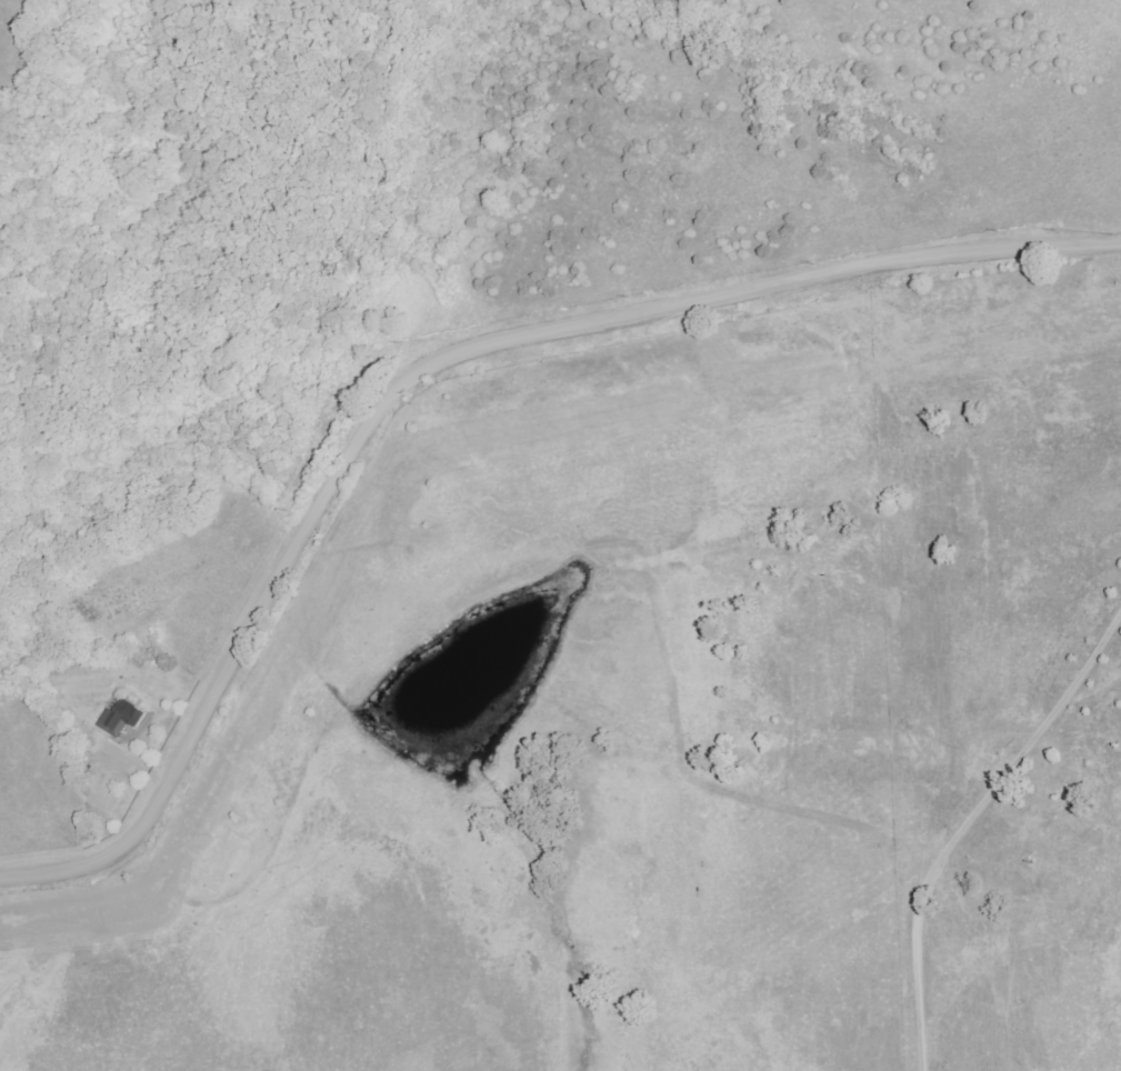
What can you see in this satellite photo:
road: (431, 368)
road: (968, 825)

